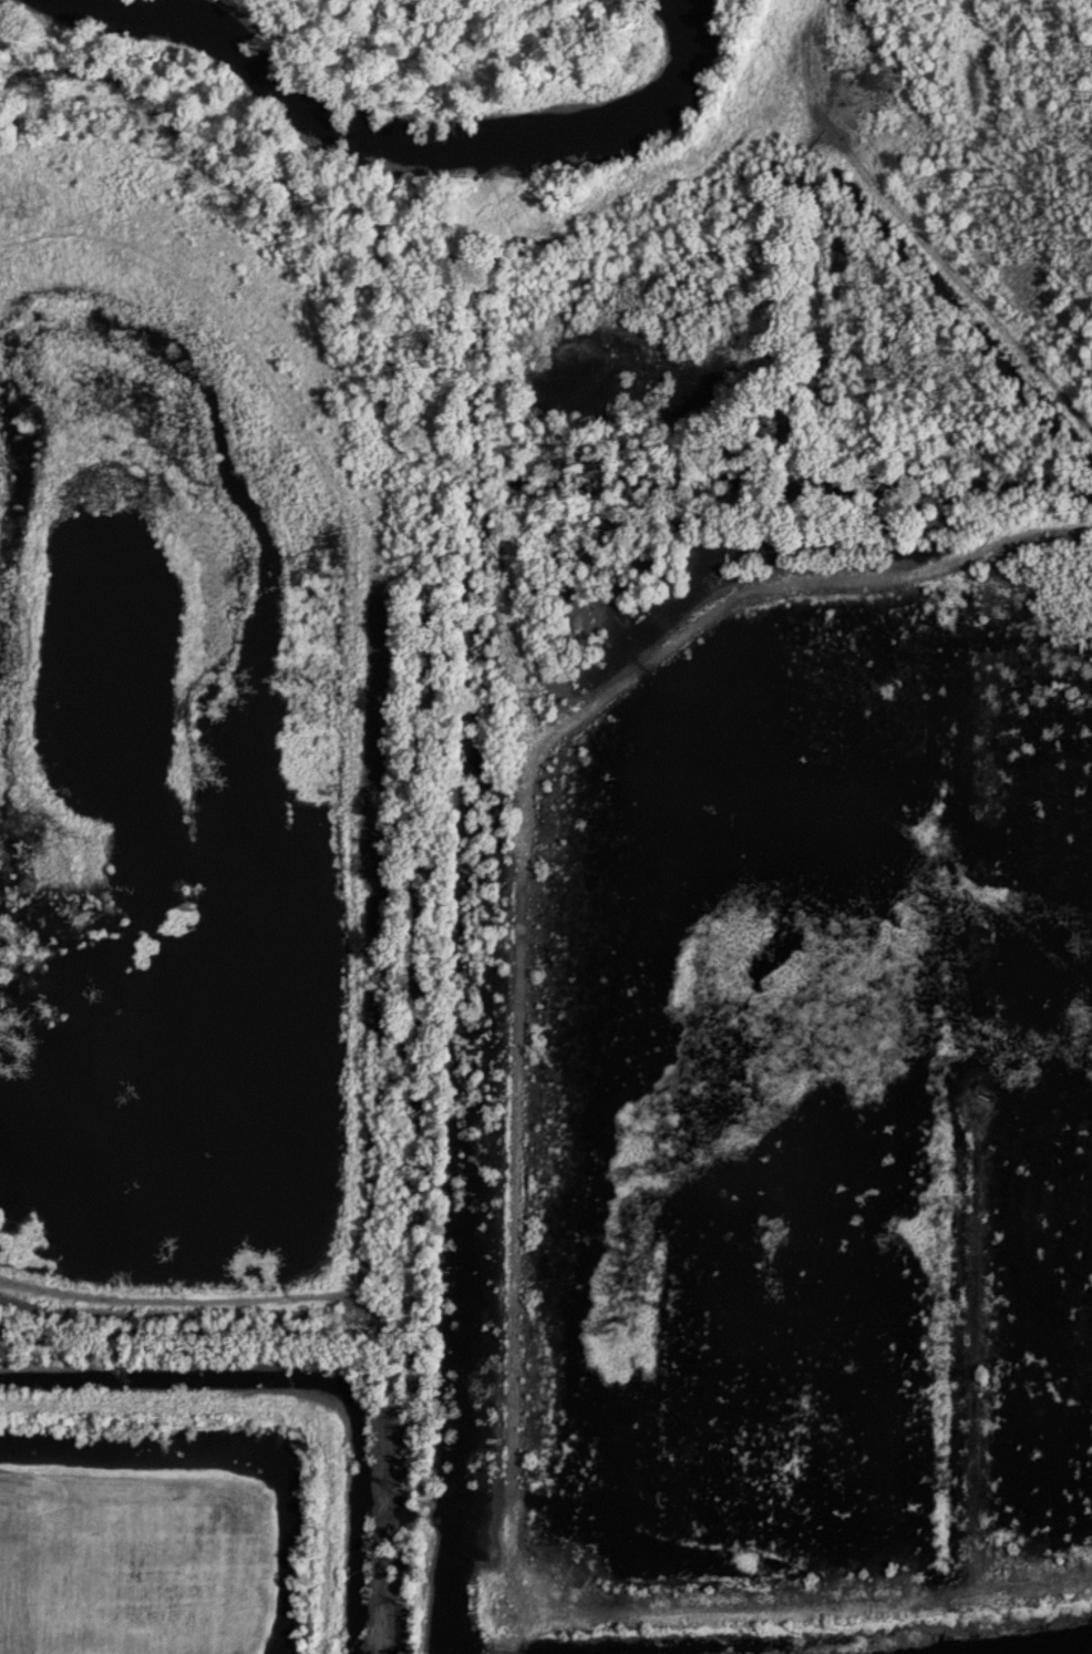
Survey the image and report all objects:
road: (523, 896)
road: (353, 1309)
road: (815, 1606)

